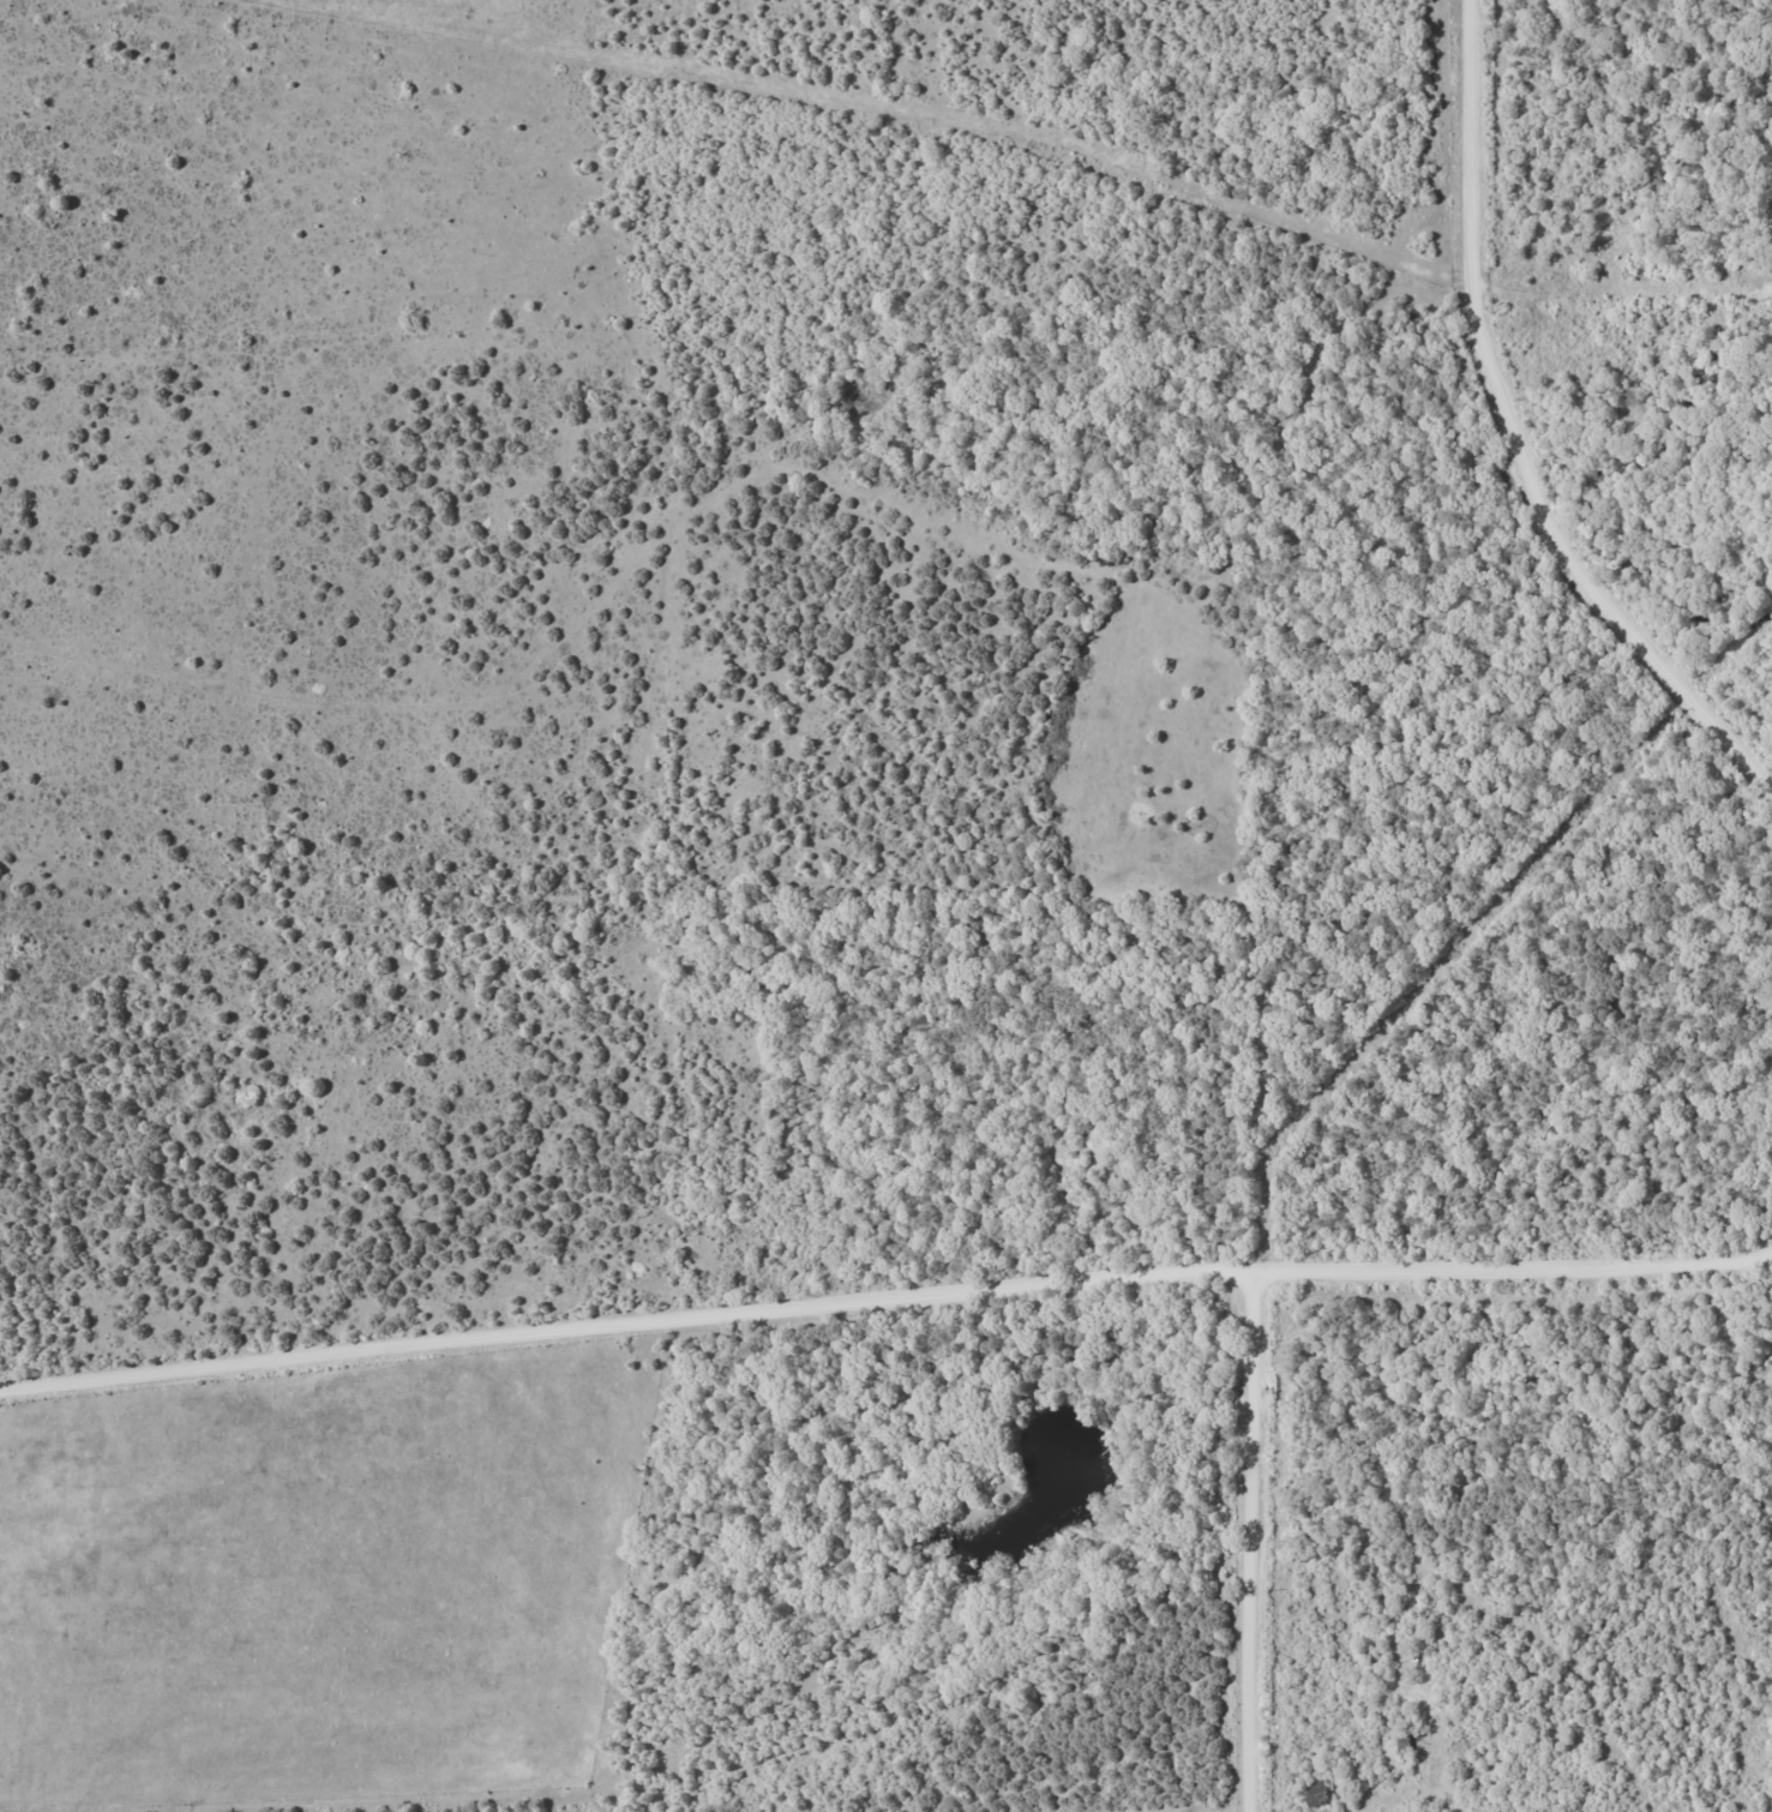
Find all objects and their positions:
road: (1514, 438)
road: (1253, 1282)
road: (625, 1325)

